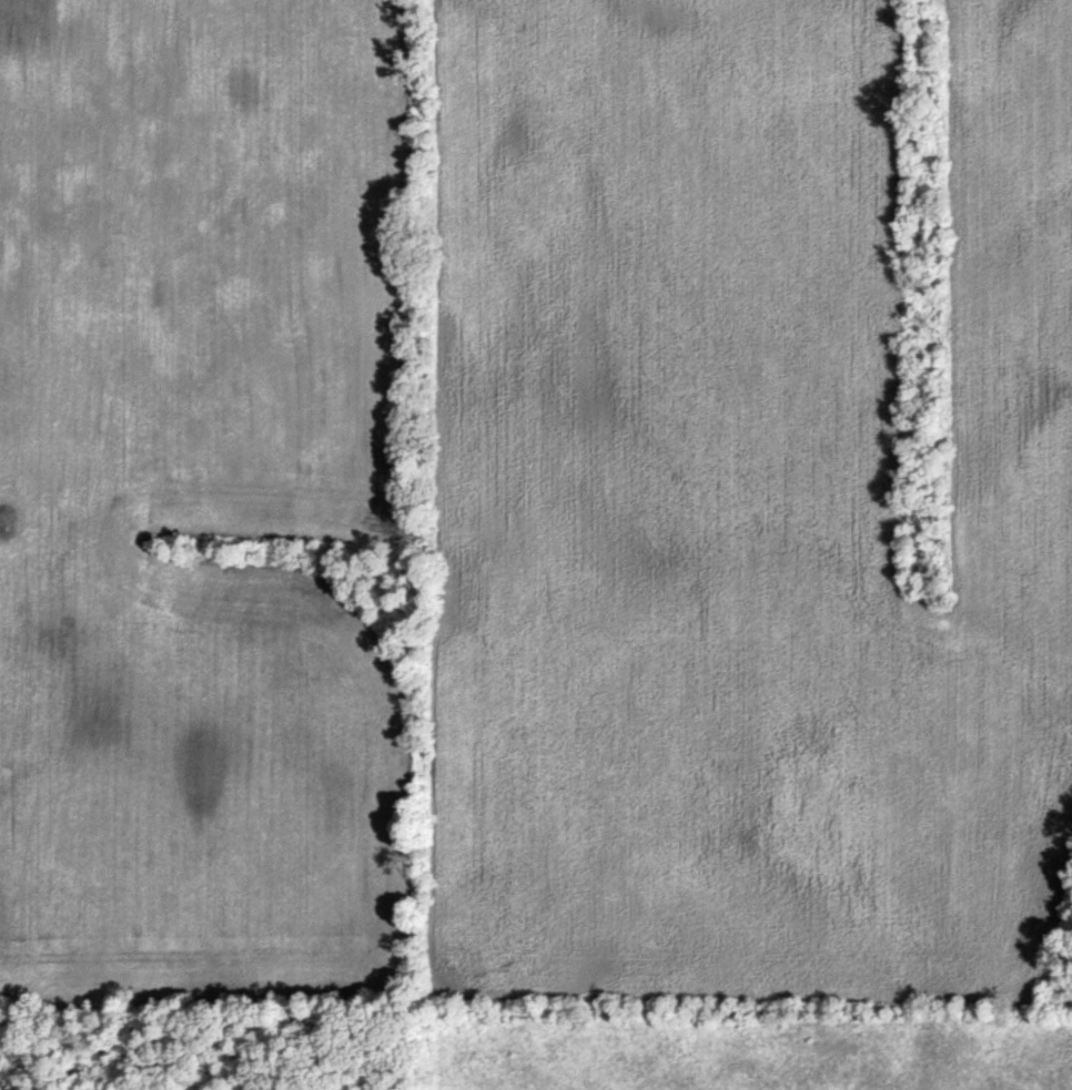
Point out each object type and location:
crop: (191, 488)
crop: (737, 498)

